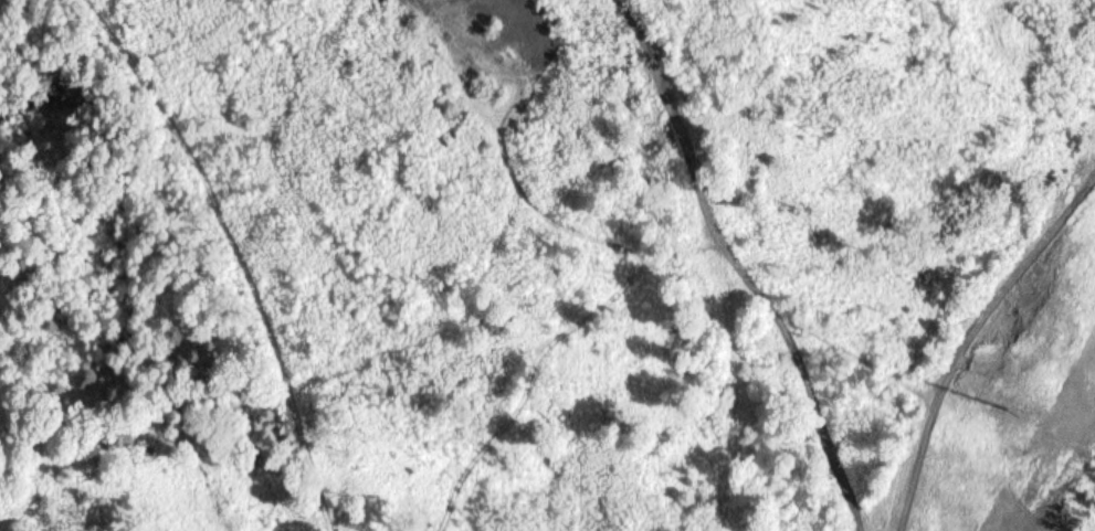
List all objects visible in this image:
road: (781, 265)
power tower: (1005, 406)

